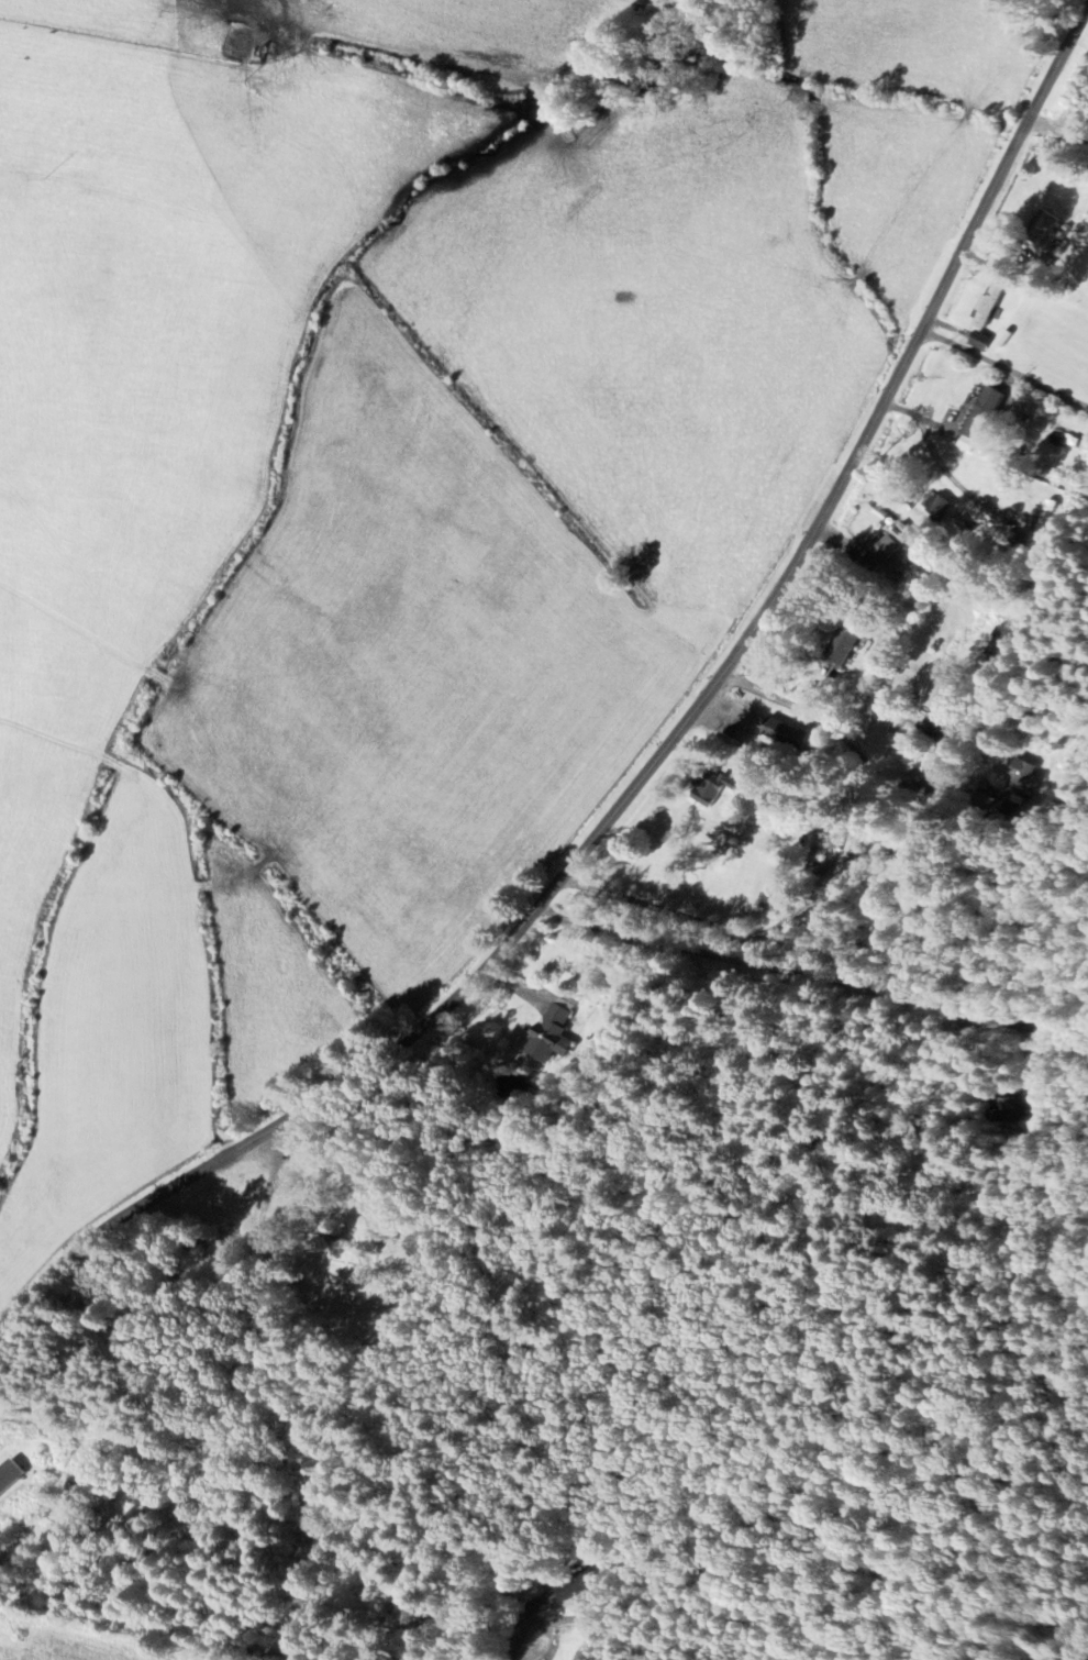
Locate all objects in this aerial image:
building: (1042, 229)
building: (986, 306)
building: (978, 341)
road: (1003, 368)
building: (980, 413)
building: (935, 506)
building: (1045, 518)
building: (879, 554)
building: (1006, 643)
building: (840, 648)
building: (939, 695)
building: (782, 730)
road: (848, 740)
road: (651, 765)
building: (1022, 782)
building: (706, 788)
road: (812, 975)
building: (549, 1034)
building: (1012, 1111)
building: (11, 1476)
road: (11, 1493)
road: (524, 1656)
building: (585, 1657)

